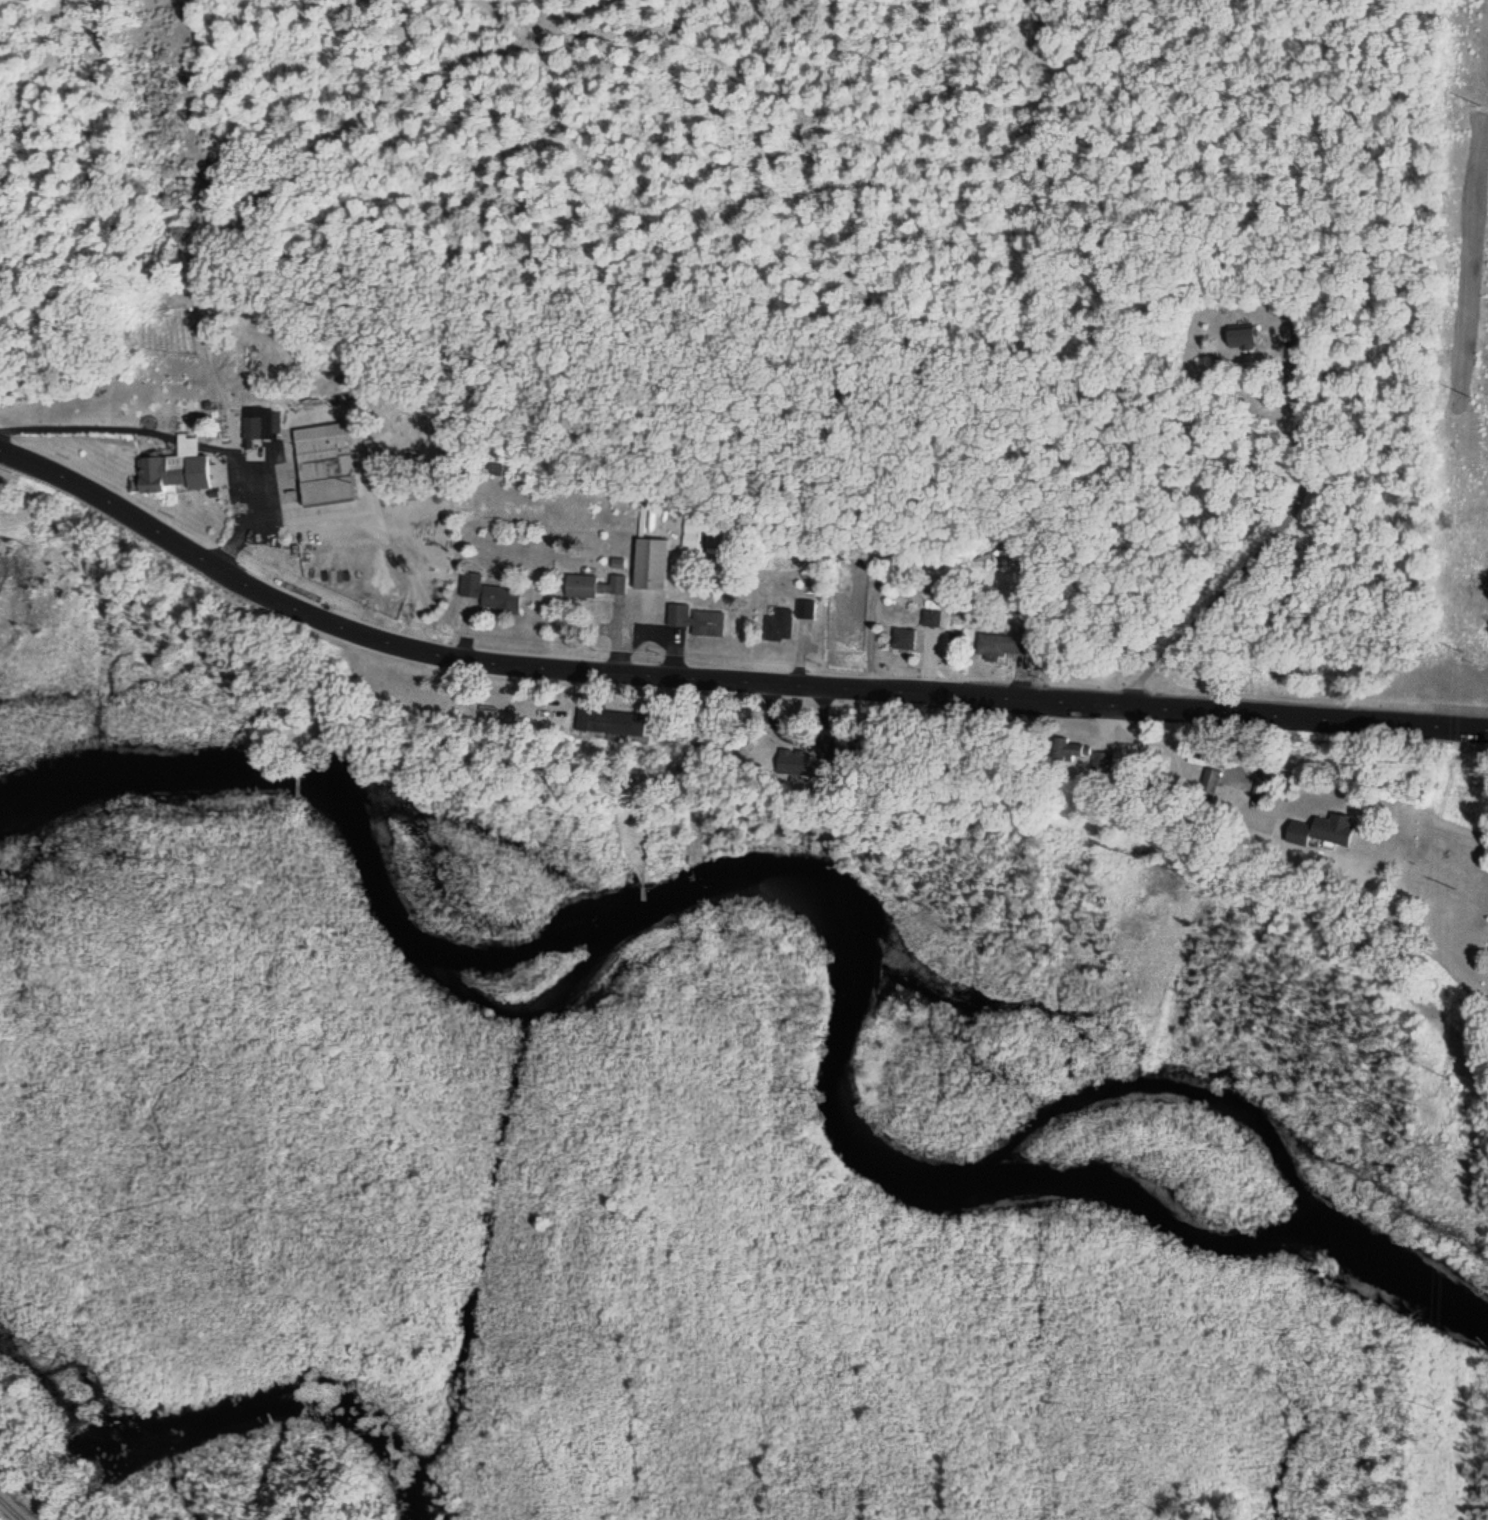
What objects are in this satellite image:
building: (1242, 340)
building: (256, 424)
building: (177, 469)
building: (322, 470)
building: (691, 538)
building: (650, 565)
building: (470, 586)
building: (592, 587)
building: (500, 600)
building: (931, 619)
building: (693, 620)
building: (778, 628)
building: (903, 639)
building: (1005, 644)
road: (719, 683)
building: (1068, 751)
building: (1211, 784)
building: (1317, 833)
river: (821, 898)
railway: (12, 1508)

